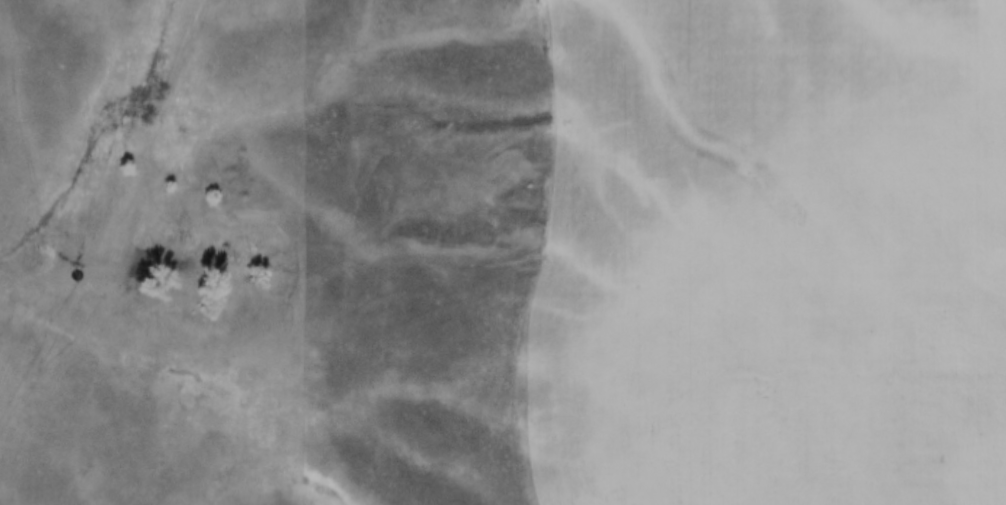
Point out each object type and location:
road: (138, 186)
building: (687, 217)
building: (882, 290)

